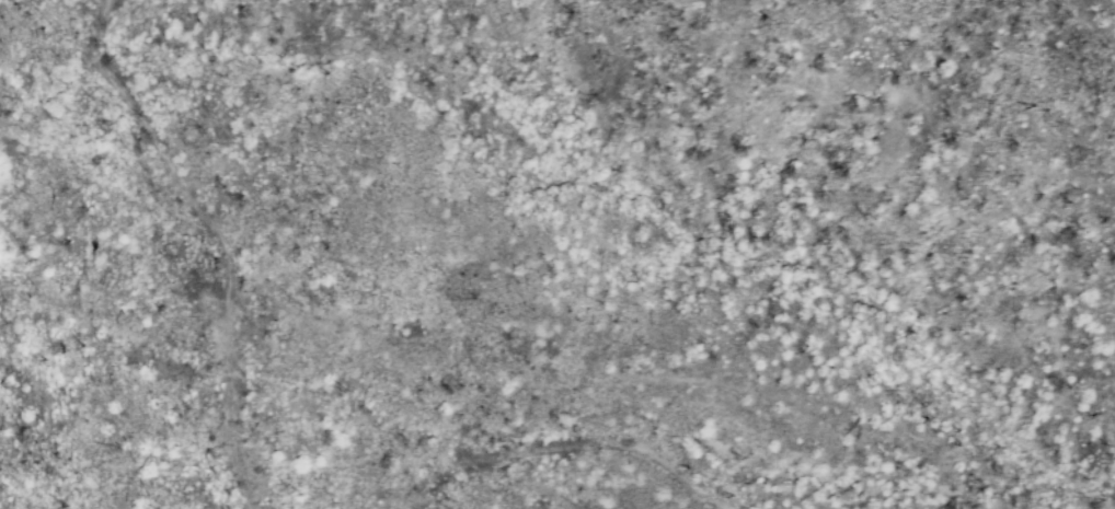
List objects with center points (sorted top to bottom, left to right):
road: (219, 232)
road: (557, 448)

